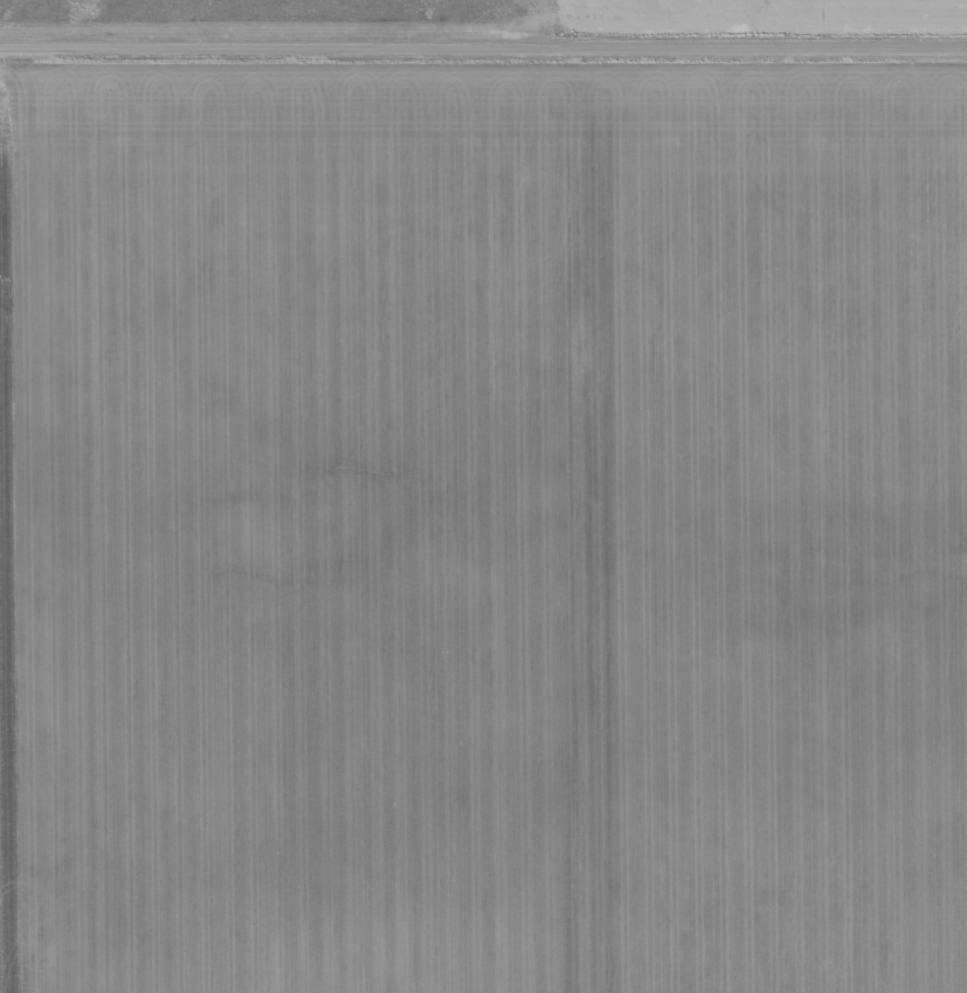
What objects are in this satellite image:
road: (483, 46)

